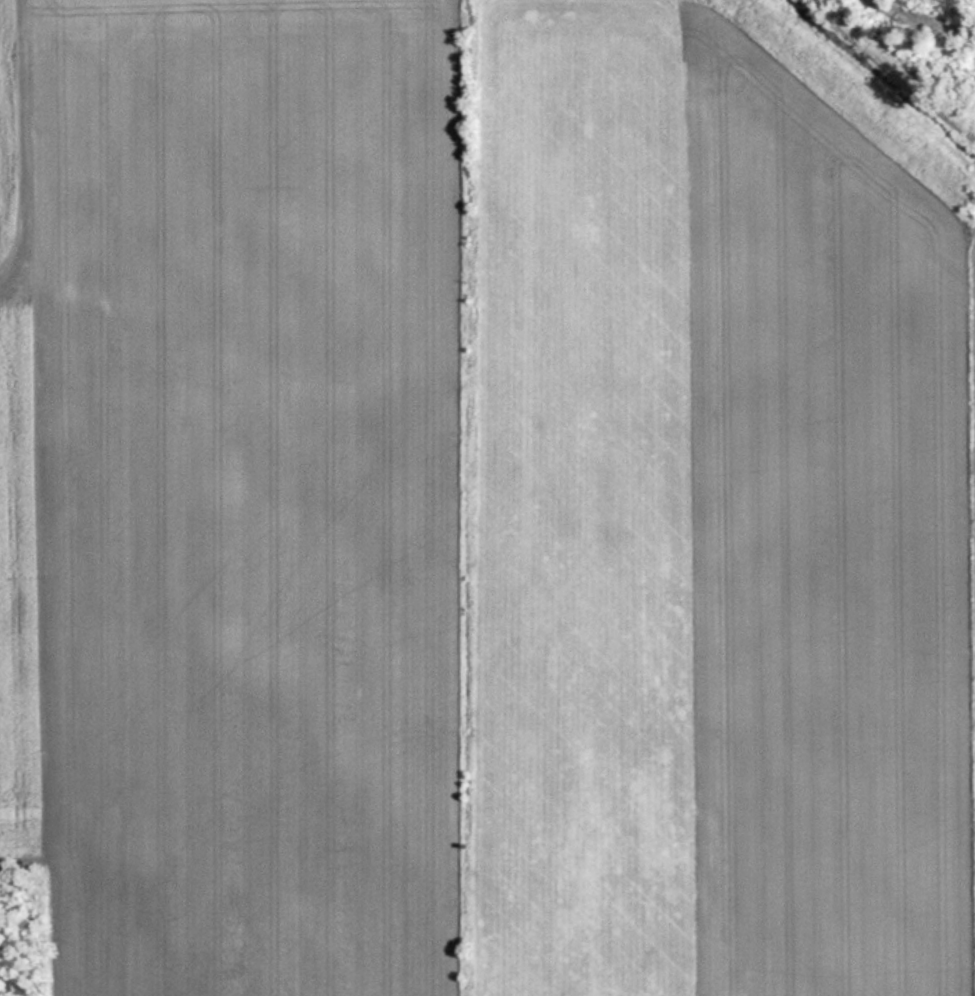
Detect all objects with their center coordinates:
road: (28, 160)

